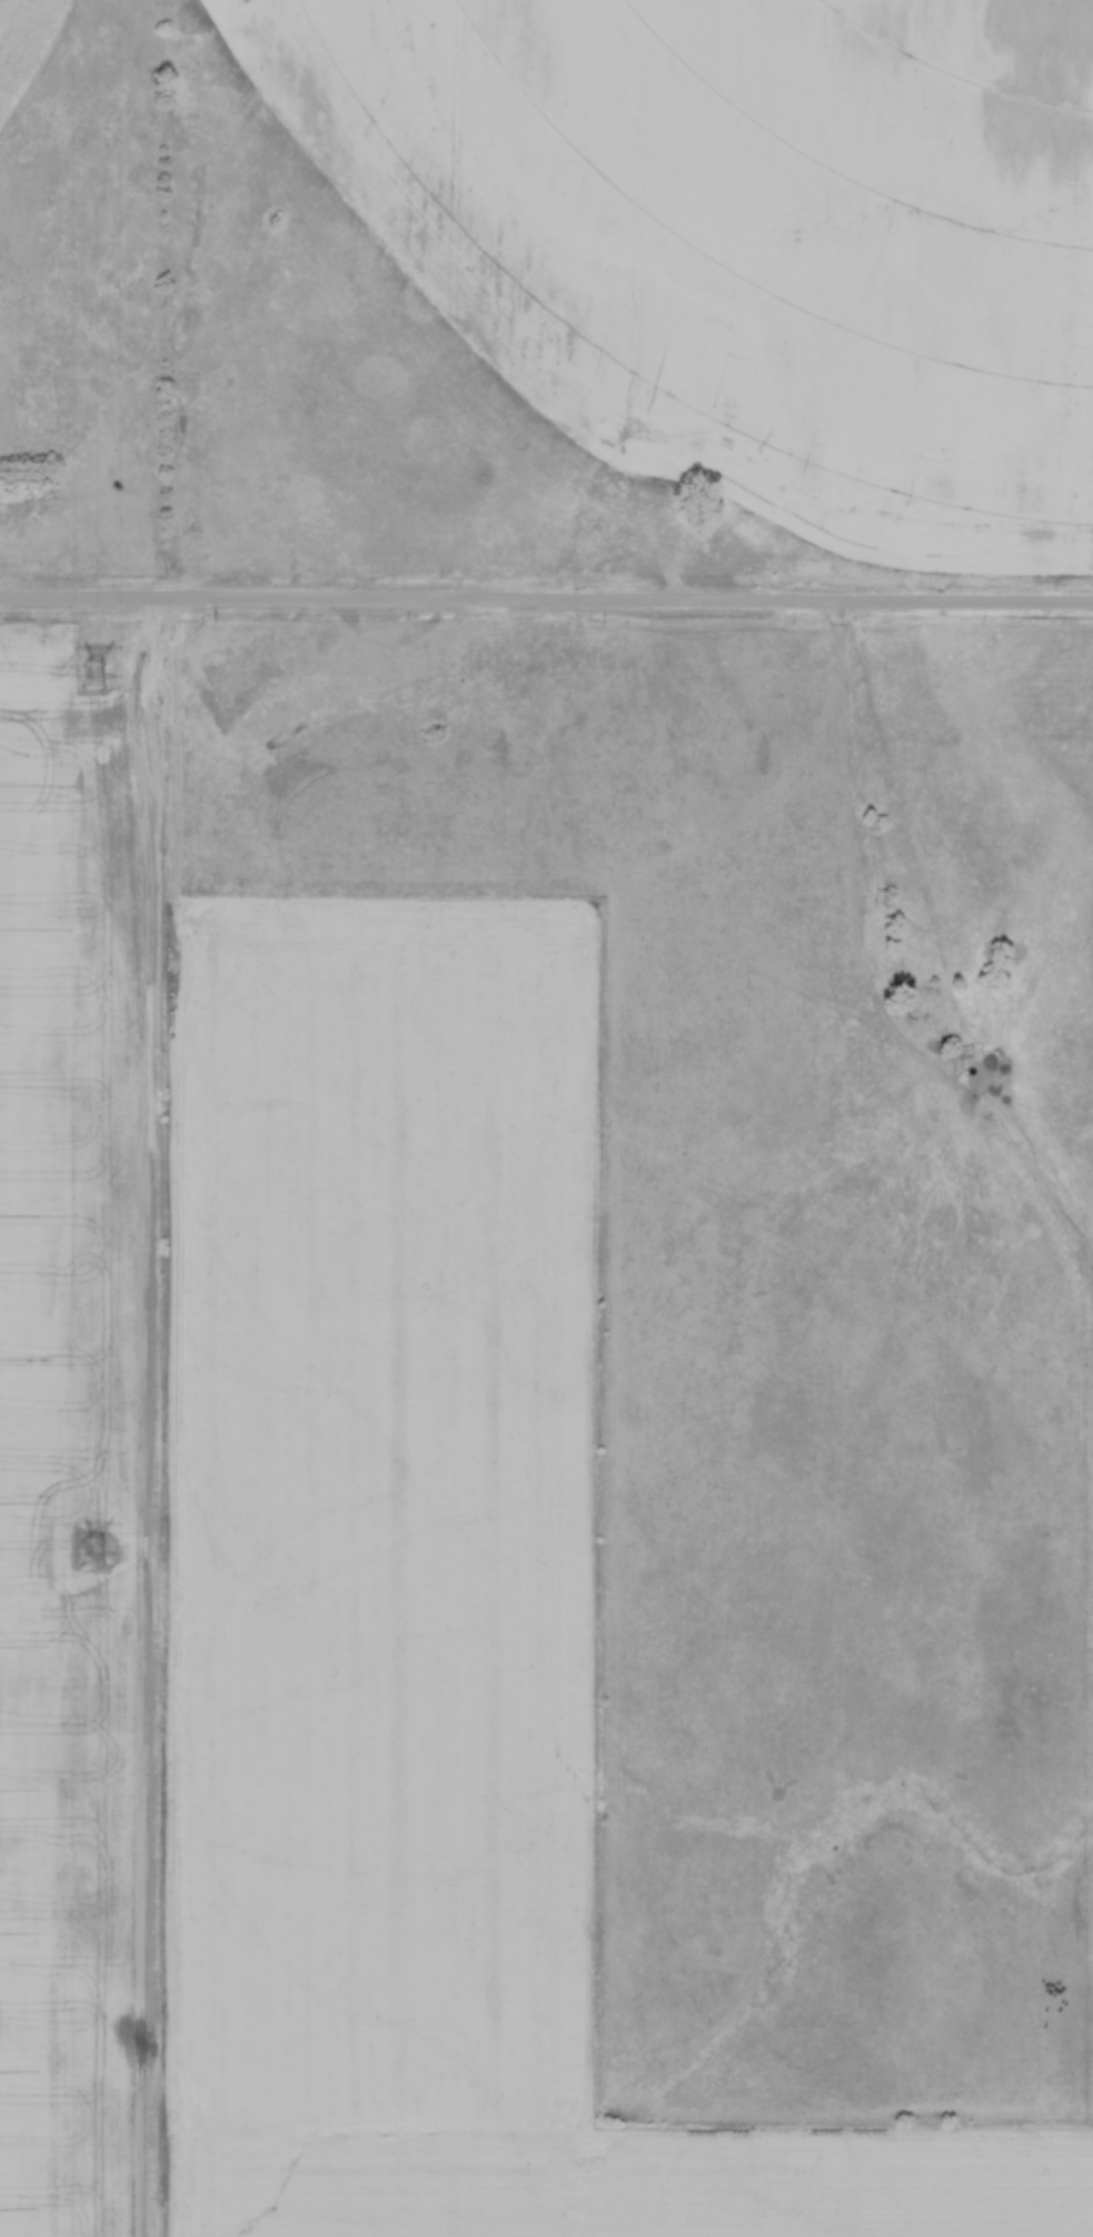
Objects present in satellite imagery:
road: (546, 607)
power tower: (96, 676)
power tower: (93, 1553)

